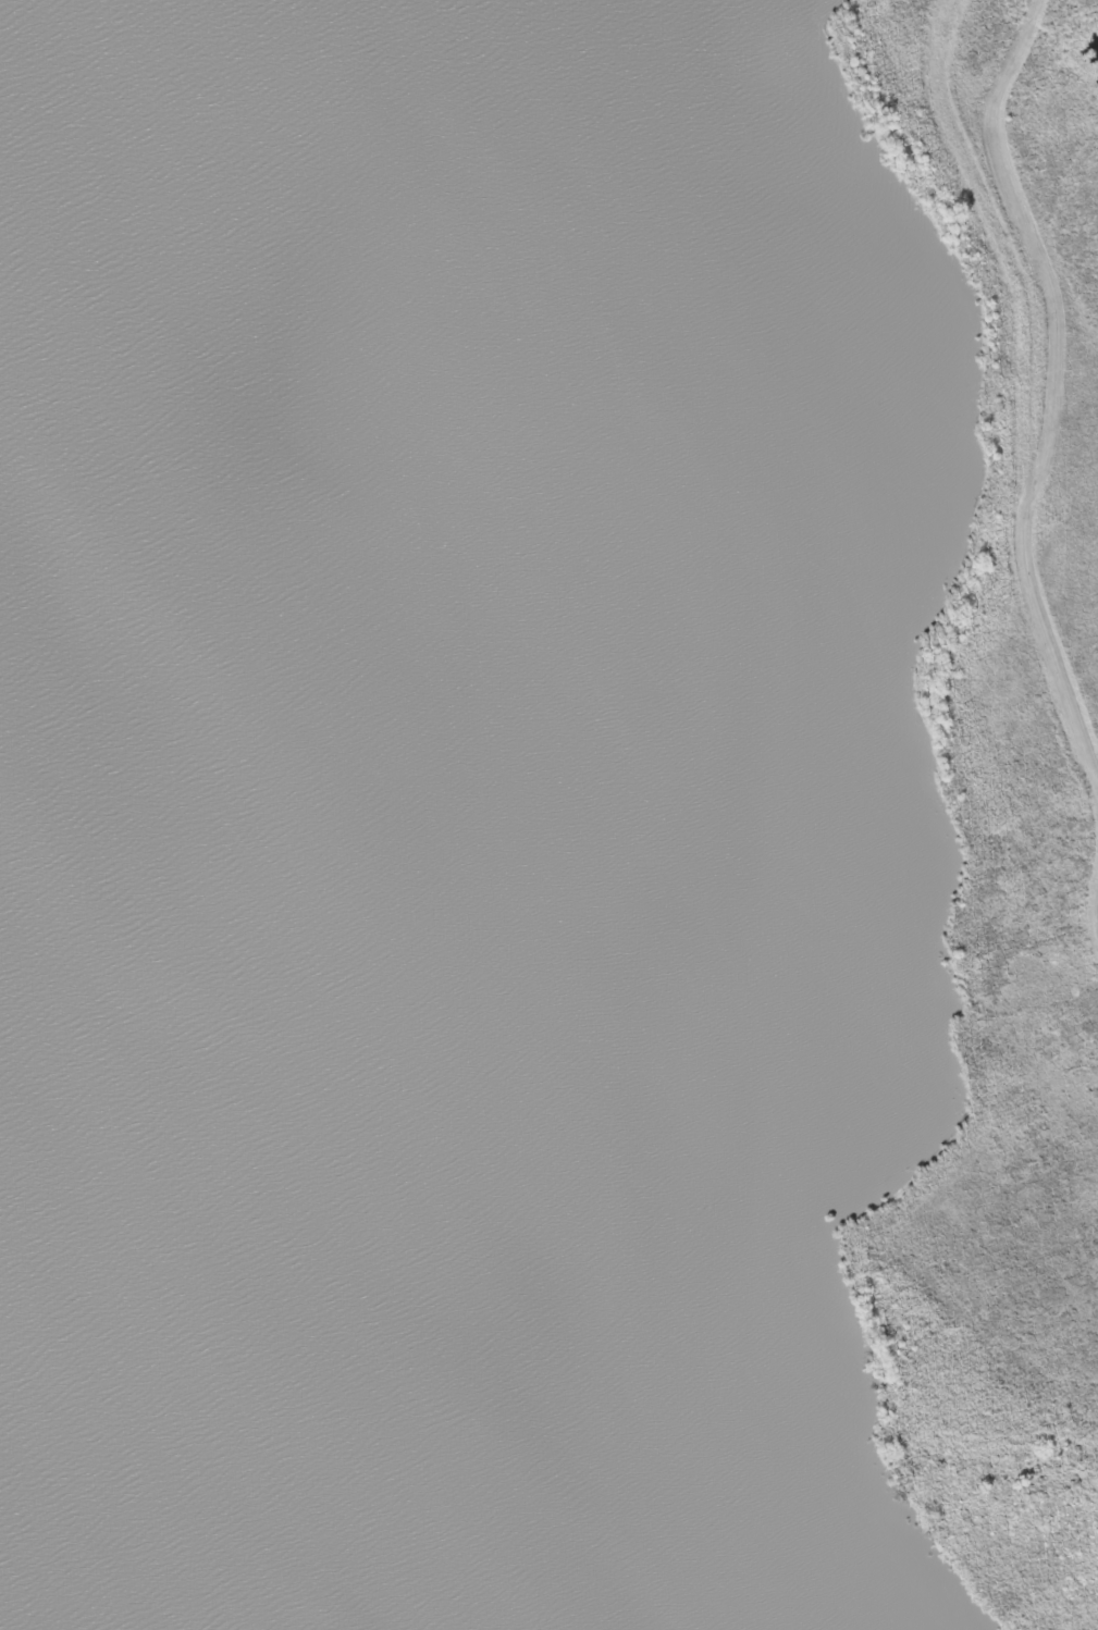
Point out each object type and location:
road: (1026, 288)

